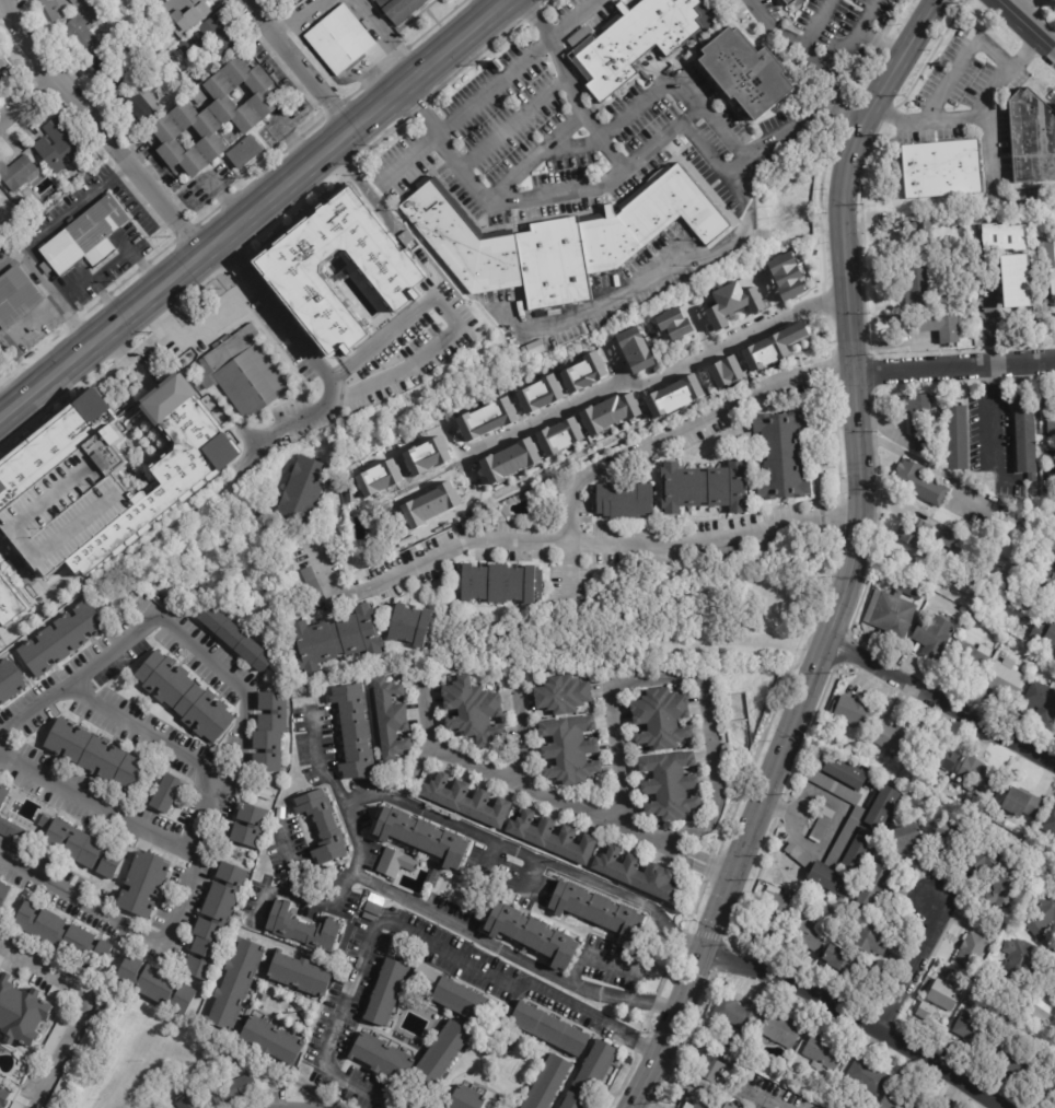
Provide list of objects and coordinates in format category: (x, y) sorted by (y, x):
building: (289, 1)
building: (790, 2)
road: (494, 3)
building: (59, 8)
building: (183, 10)
building: (402, 10)
road: (301, 18)
road: (819, 23)
road: (1029, 26)
building: (82, 28)
road: (382, 37)
building: (217, 38)
building: (340, 40)
building: (637, 40)
building: (189, 46)
road: (824, 53)
road: (961, 59)
road: (299, 63)
building: (1, 66)
building: (108, 66)
road: (517, 66)
building: (746, 73)
road: (571, 86)
building: (198, 98)
road: (27, 100)
building: (142, 102)
road: (989, 104)
road: (628, 115)
building: (213, 117)
road: (514, 120)
road: (928, 123)
road: (97, 127)
road: (566, 129)
building: (1032, 139)
building: (58, 147)
building: (244, 153)
road: (408, 160)
road: (628, 167)
building: (942, 170)
building: (15, 174)
building: (0, 196)
building: (0, 197)
building: (25, 205)
road: (251, 208)
building: (954, 222)
building: (917, 231)
building: (1002, 236)
building: (21, 241)
building: (85, 241)
building: (557, 241)
road: (128, 252)
road: (847, 260)
building: (780, 264)
building: (298, 271)
building: (1053, 272)
building: (787, 276)
building: (1009, 277)
road: (656, 278)
road: (92, 282)
building: (916, 285)
building: (789, 289)
road: (48, 291)
building: (735, 295)
building: (16, 299)
building: (753, 300)
building: (723, 301)
road: (451, 317)
building: (716, 317)
road: (34, 319)
building: (673, 323)
building: (940, 327)
road: (196, 329)
building: (988, 331)
building: (792, 333)
building: (776, 346)
building: (635, 350)
building: (764, 352)
road: (310, 354)
building: (753, 358)
road: (953, 366)
building: (731, 369)
building: (241, 372)
building: (719, 374)
road: (825, 376)
building: (689, 387)
building: (679, 393)
road: (590, 394)
building: (666, 399)
building: (654, 405)
building: (1051, 417)
building: (919, 419)
road: (992, 422)
building: (958, 435)
building: (1027, 435)
road: (658, 441)
building: (781, 455)
building: (1051, 468)
building: (104, 478)
building: (921, 481)
building: (705, 487)
building: (303, 489)
building: (624, 499)
road: (464, 509)
road: (842, 514)
building: (1024, 525)
building: (914, 533)
road: (547, 539)
building: (952, 540)
building: (1054, 546)
building: (730, 552)
road: (855, 558)
road: (14, 567)
building: (501, 582)
building: (1034, 586)
building: (314, 588)
building: (10, 602)
building: (894, 607)
building: (410, 625)
building: (1044, 632)
building: (935, 637)
building: (60, 638)
building: (235, 638)
building: (336, 639)
building: (1045, 657)
building: (972, 658)
road: (685, 677)
building: (10, 679)
building: (1005, 680)
building: (563, 693)
building: (184, 698)
building: (1040, 701)
road: (941, 702)
building: (474, 710)
building: (855, 712)
building: (390, 718)
building: (661, 719)
building: (269, 731)
building: (355, 731)
road: (144, 735)
building: (896, 737)
road: (520, 738)
building: (570, 749)
building: (93, 755)
road: (230, 756)
building: (939, 757)
building: (848, 774)
building: (978, 775)
building: (953, 777)
building: (904, 782)
building: (670, 784)
building: (166, 793)
building: (264, 793)
road: (556, 796)
building: (466, 801)
building: (1023, 803)
road: (96, 805)
building: (280, 813)
road: (839, 816)
building: (1050, 818)
building: (11, 821)
building: (248, 825)
road: (455, 825)
building: (822, 825)
building: (323, 826)
building: (949, 833)
building: (422, 836)
building: (553, 837)
building: (845, 837)
building: (1015, 837)
building: (907, 840)
road: (743, 844)
building: (858, 845)
building: (83, 850)
building: (799, 855)
building: (984, 855)
building: (395, 863)
building: (637, 874)
building: (141, 884)
building: (874, 884)
building: (1004, 889)
road: (263, 893)
building: (3, 894)
road: (625, 896)
road: (297, 899)
building: (372, 908)
building: (596, 910)
road: (432, 914)
building: (772, 915)
building: (1041, 915)
building: (213, 921)
building: (302, 929)
building: (808, 931)
road: (409, 933)
building: (532, 935)
building: (62, 936)
building: (873, 938)
building: (972, 949)
road: (594, 957)
building: (1, 959)
building: (840, 961)
building: (1020, 961)
road: (911, 967)
building: (299, 975)
building: (234, 984)
building: (155, 987)
building: (976, 991)
building: (386, 993)
building: (449, 993)
building: (58, 994)
building: (944, 995)
road: (85, 1008)
building: (926, 1010)
building: (1044, 1011)
building: (98, 1012)
building: (21, 1014)
building: (737, 1015)
road: (856, 1017)
building: (548, 1029)
building: (781, 1029)
building: (973, 1030)
building: (56, 1036)
building: (271, 1040)
building: (824, 1052)
building: (441, 1054)
building: (382, 1058)
building: (1016, 1059)
building: (595, 1068)
building: (712, 1071)
building: (867, 1077)
building: (65, 1083)
building: (547, 1083)
building: (1047, 1085)
building: (233, 1090)
road: (715, 1094)
building: (3, 1097)
building: (466, 1098)
building: (187, 1100)
building: (901, 1100)
building: (575, 1101)
building: (16, 1105)
building: (691, 1105)
building: (703, 1106)
building: (729, 1106)
building: (939, 1106)
building: (935, 1107)

